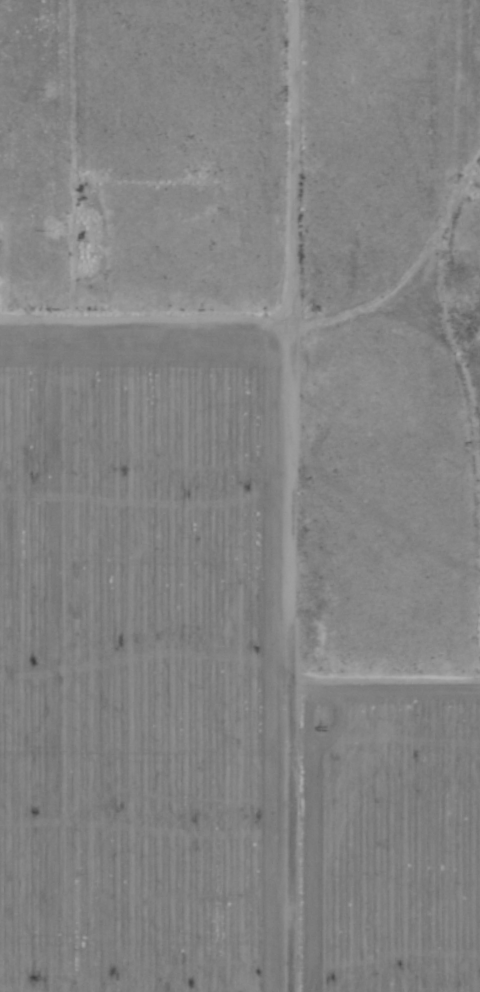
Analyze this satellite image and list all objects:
road: (429, 112)
road: (10, 140)
road: (309, 271)
road: (477, 284)
road: (247, 495)
road: (367, 665)
crop: (204, 693)

